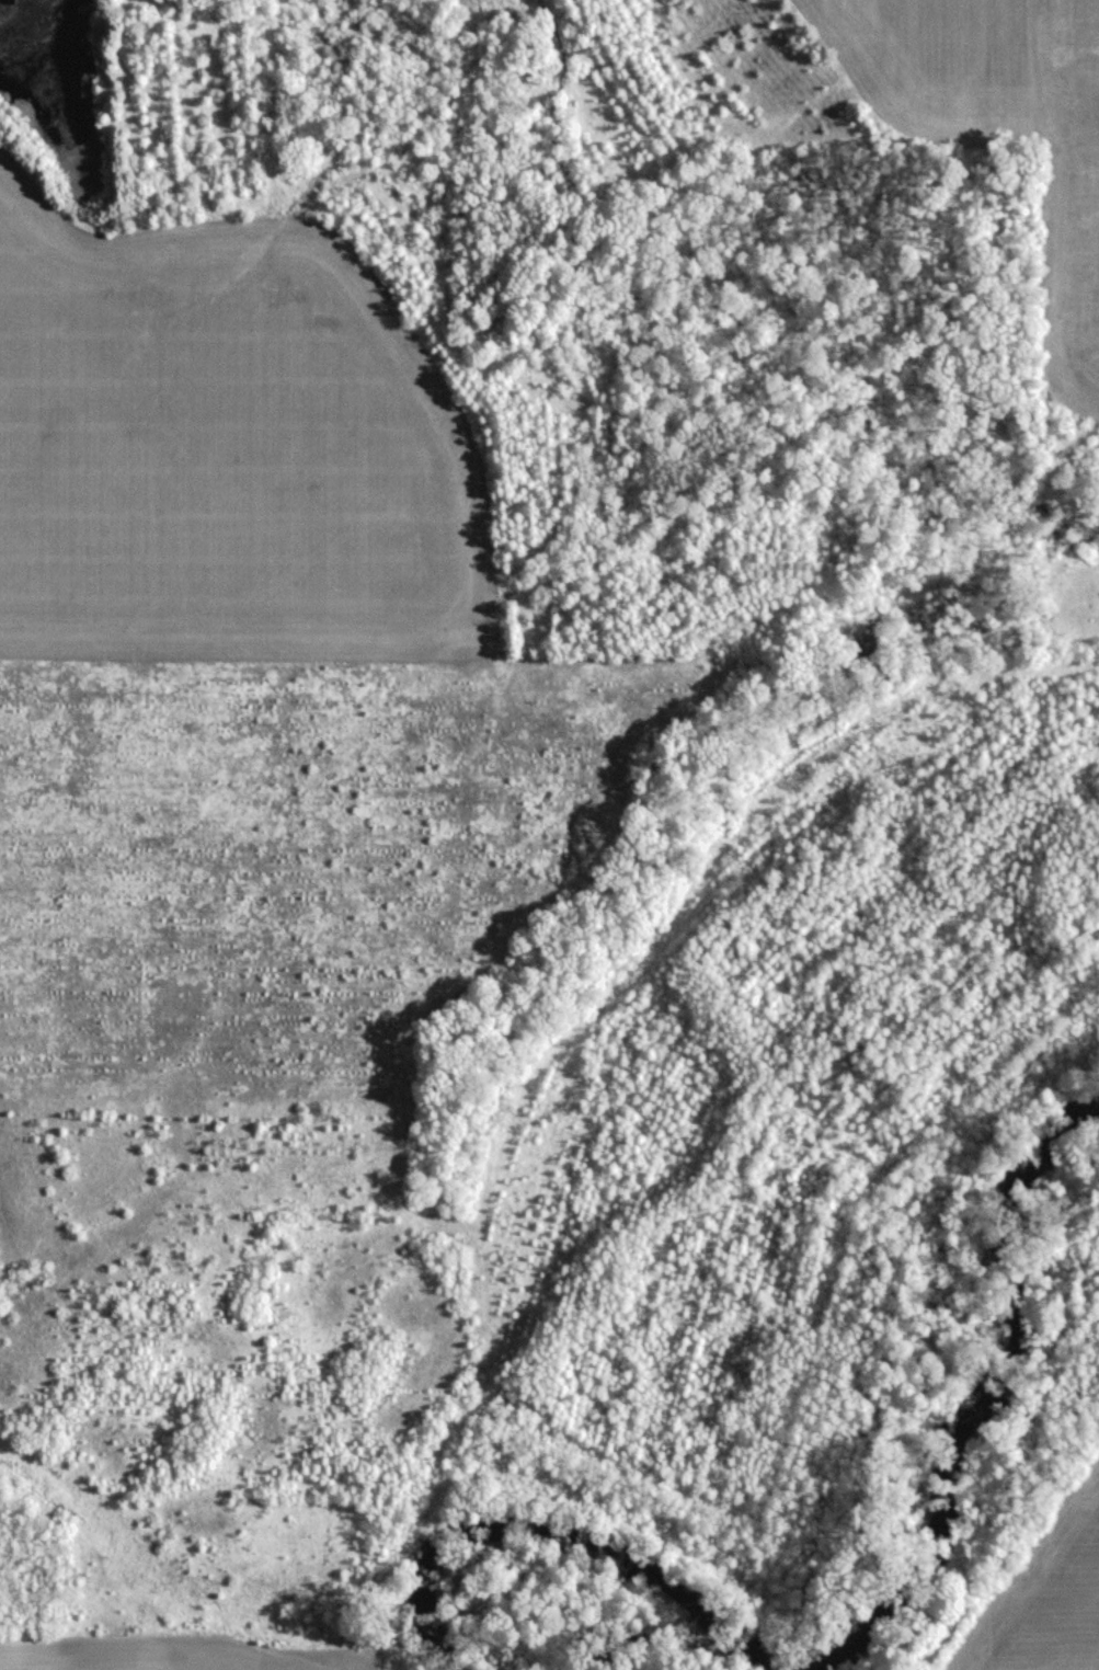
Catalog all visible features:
crop: (988, 92)
crop: (225, 451)
crop: (1041, 1591)
crop: (99, 1661)

